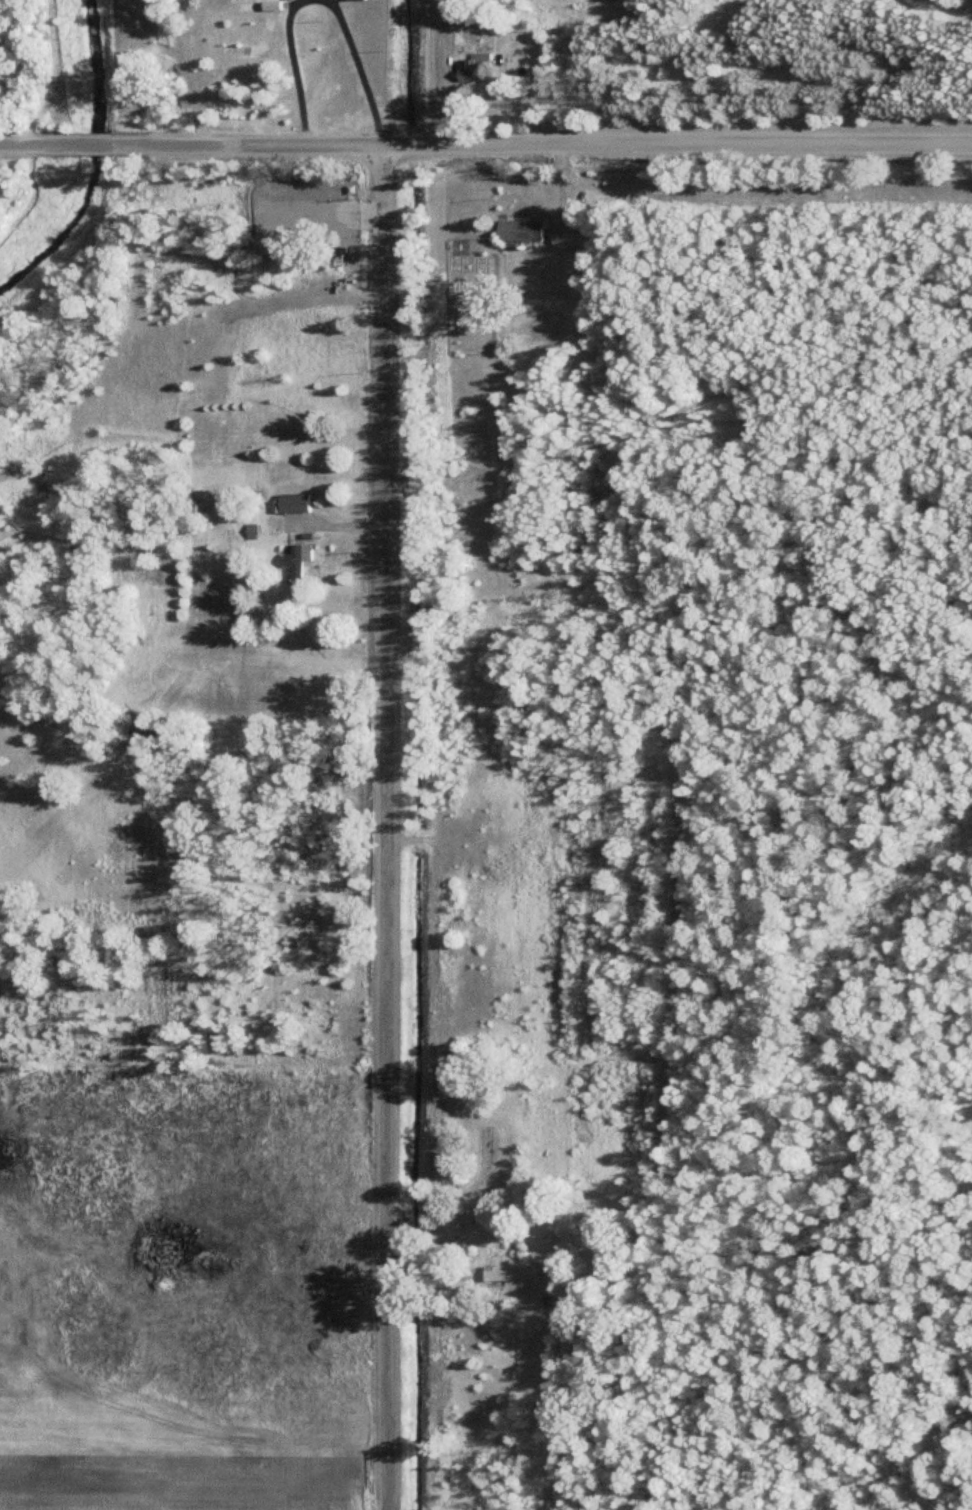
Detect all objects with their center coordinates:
building: (483, 65)
road: (367, 70)
road: (302, 71)
road: (39, 142)
road: (96, 143)
road: (542, 146)
building: (528, 229)
building: (576, 234)
building: (540, 269)
building: (302, 503)
building: (303, 566)
road: (385, 827)
building: (451, 1164)
building: (521, 1271)

